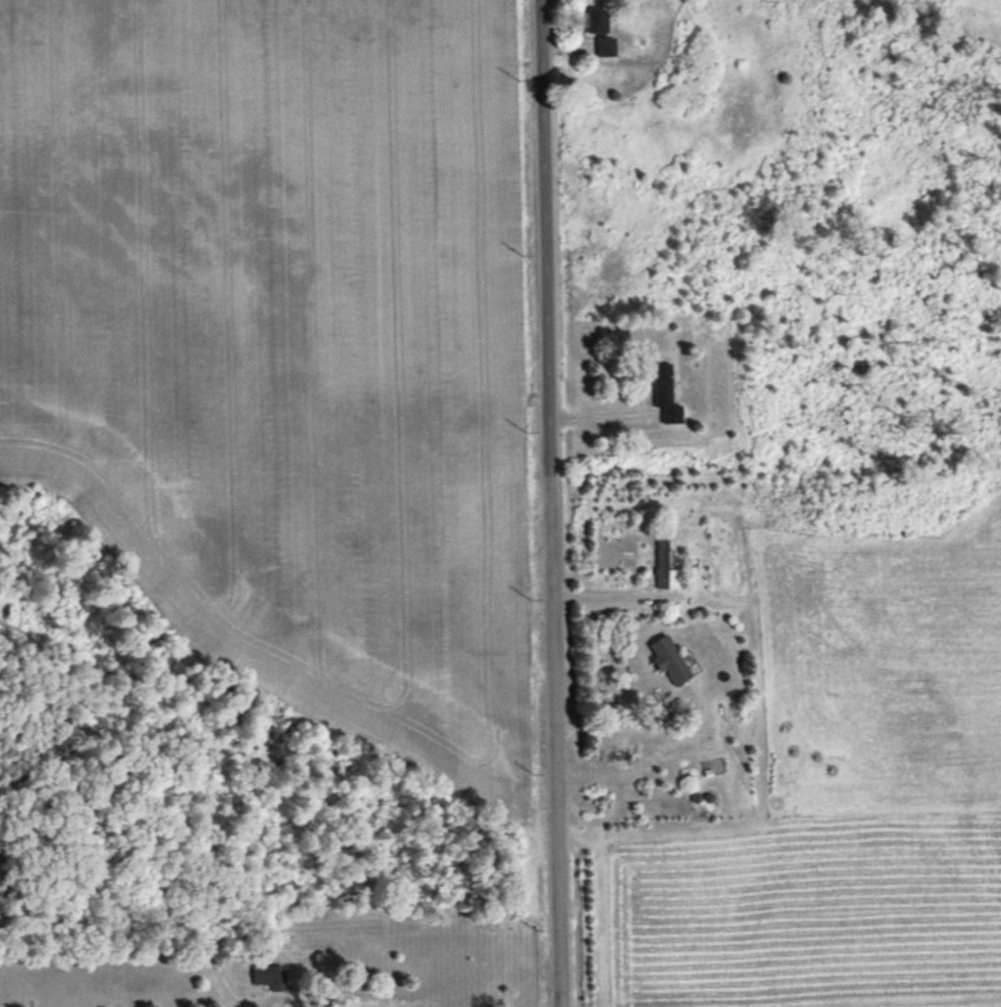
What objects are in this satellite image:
building: (601, 28)
building: (666, 392)
road: (546, 503)
building: (663, 560)
building: (669, 659)
building: (616, 753)
park: (255, 923)
building: (270, 975)

